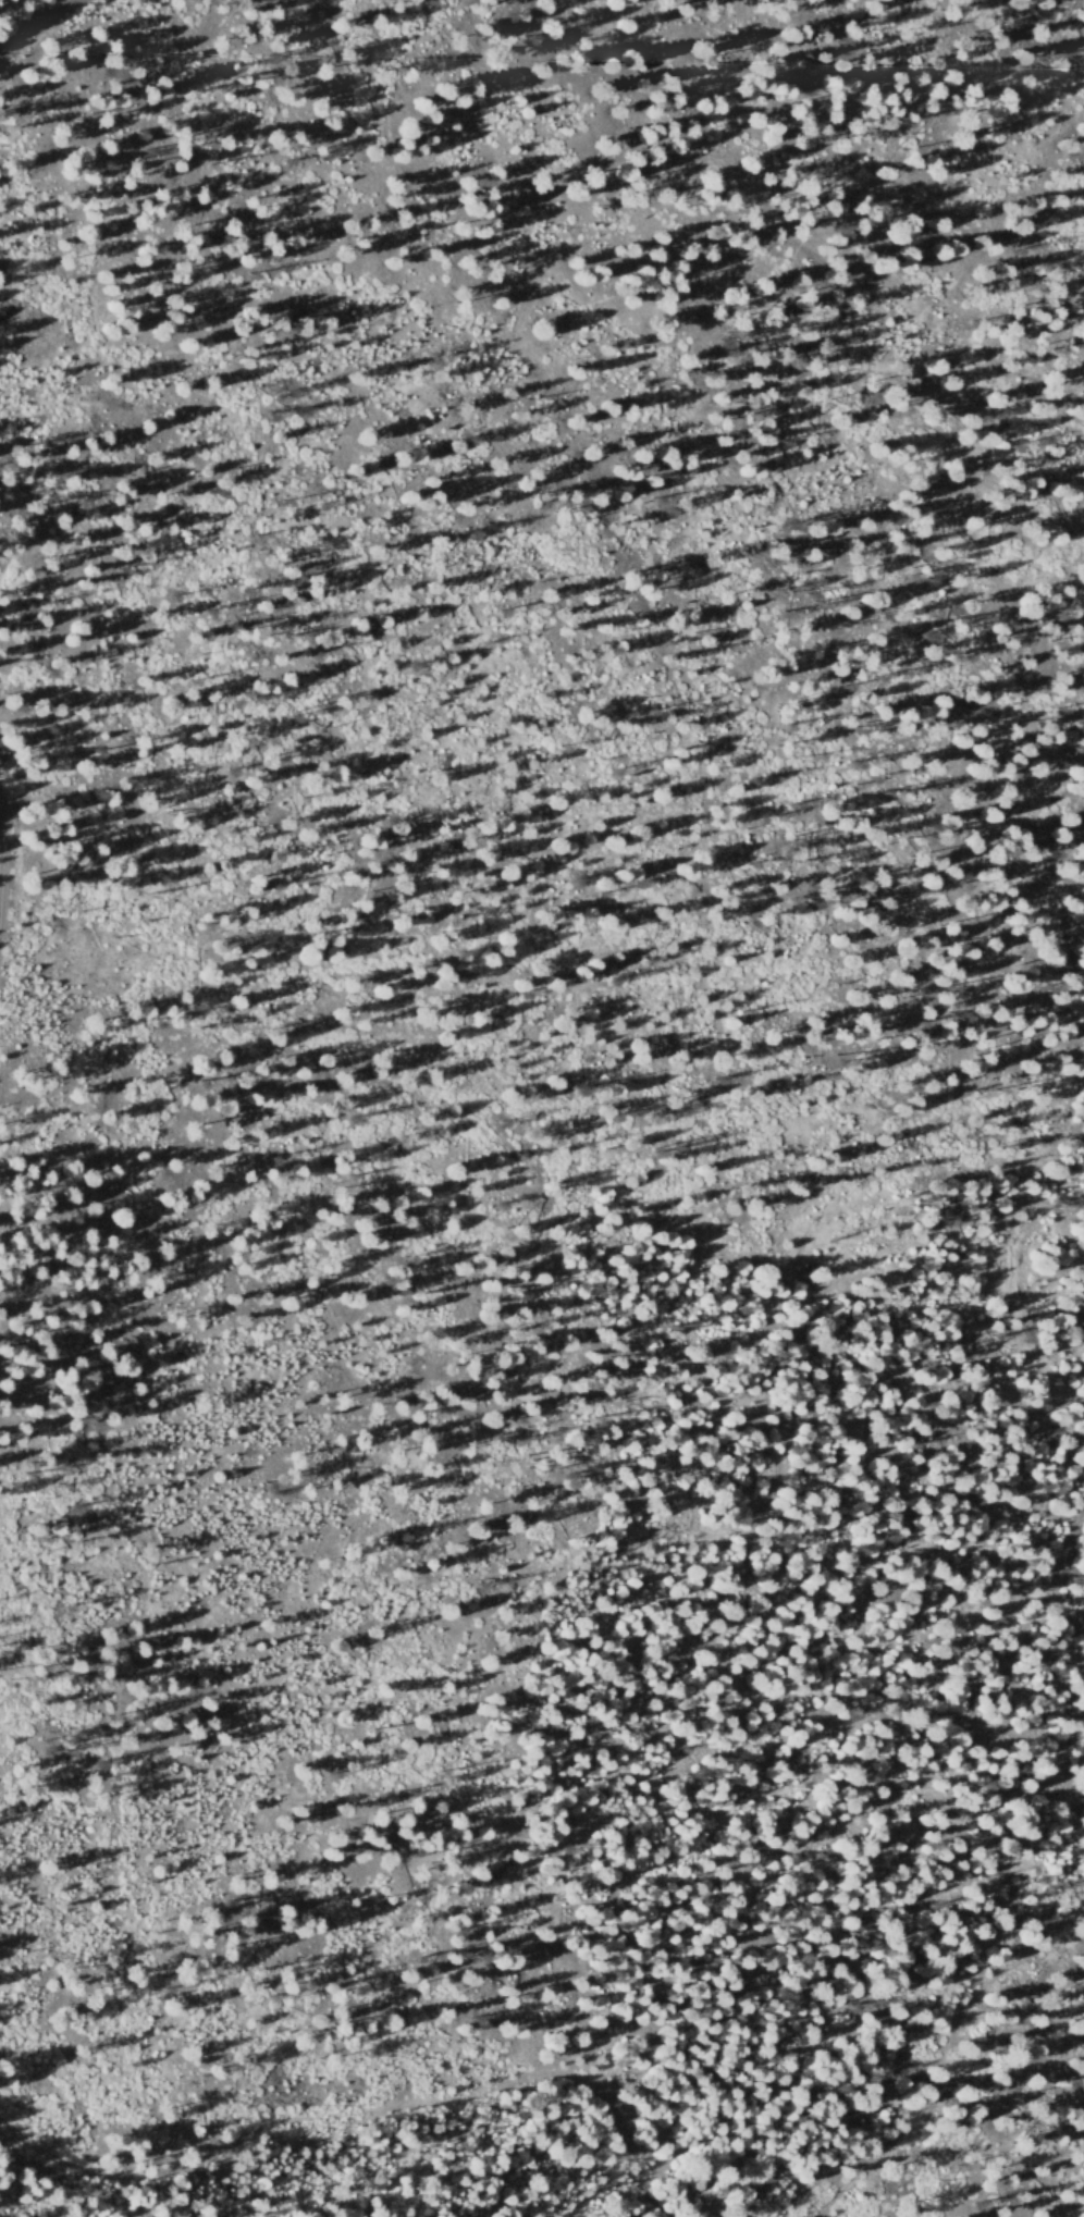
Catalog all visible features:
road: (37, 24)
road: (927, 1291)
road: (882, 2017)
road: (353, 2130)

